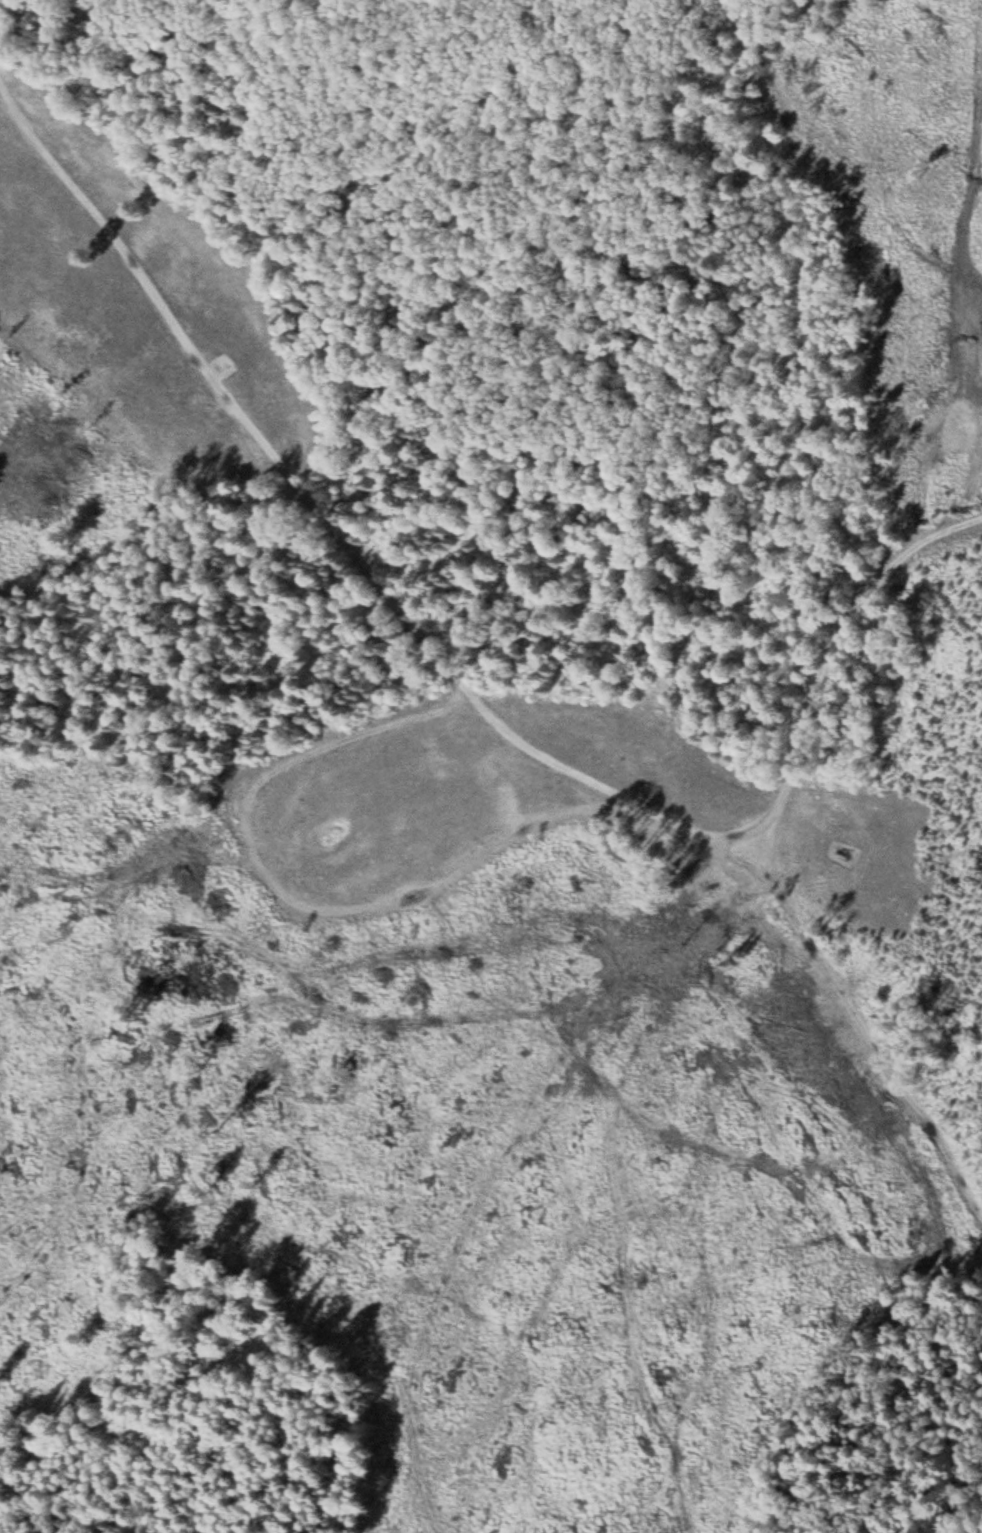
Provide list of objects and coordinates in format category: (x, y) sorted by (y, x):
road: (462, 674)
road: (860, 1024)

